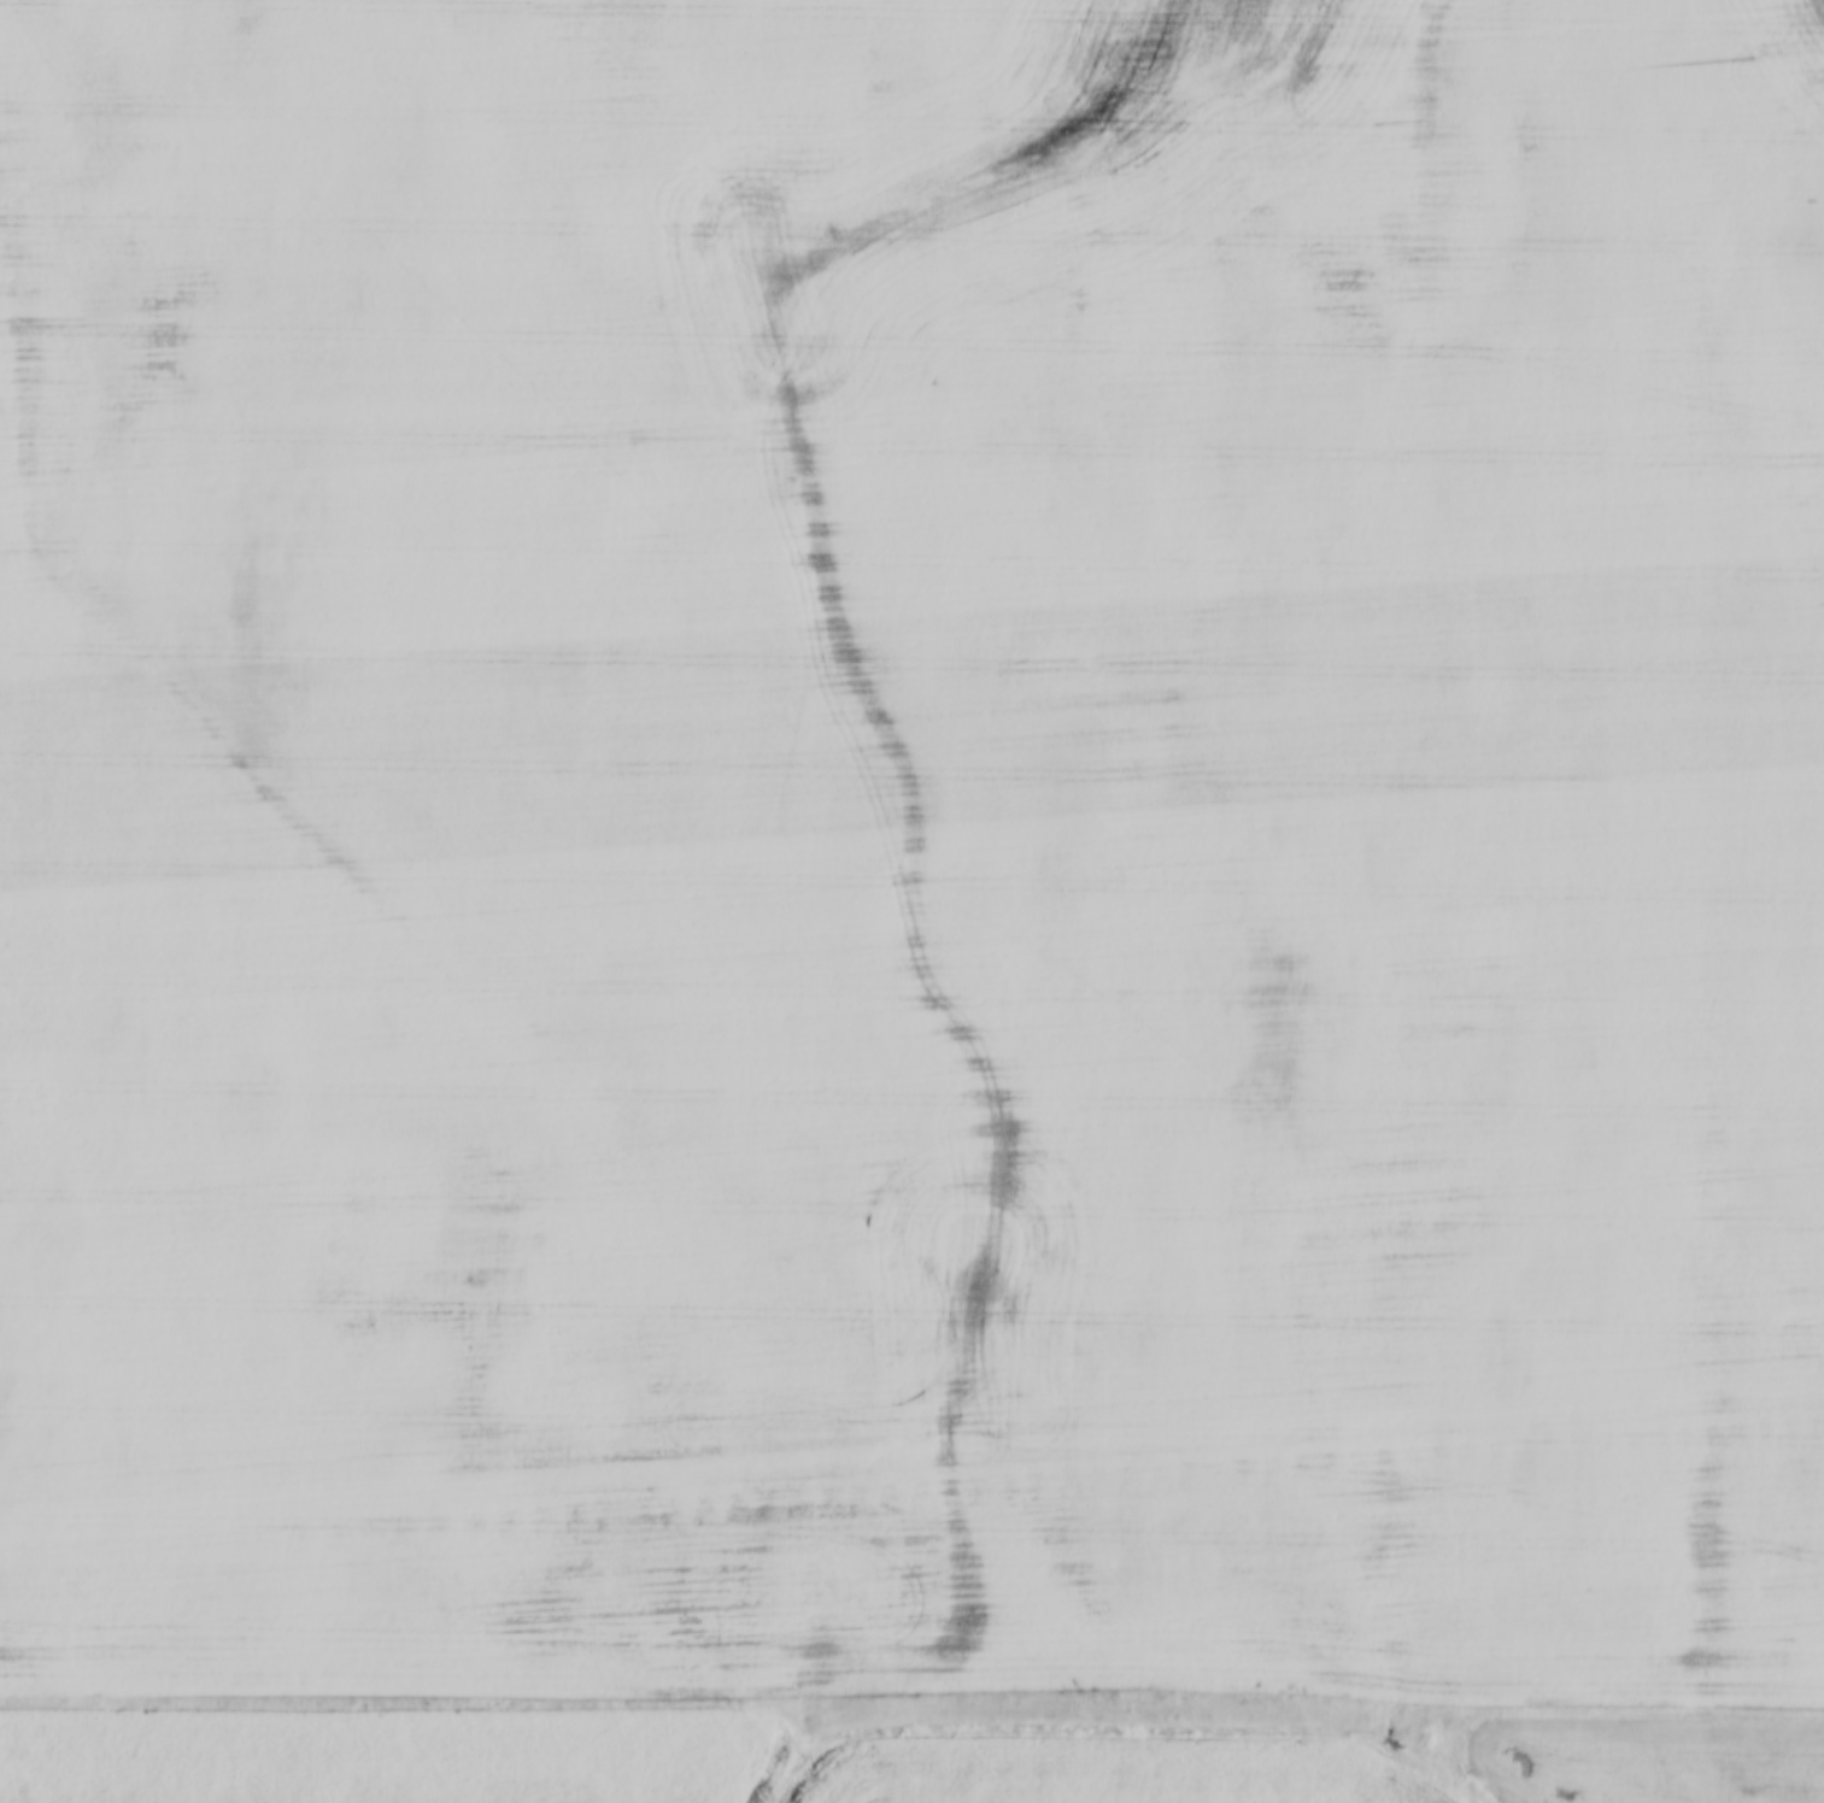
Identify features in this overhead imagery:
road: (911, 1708)

